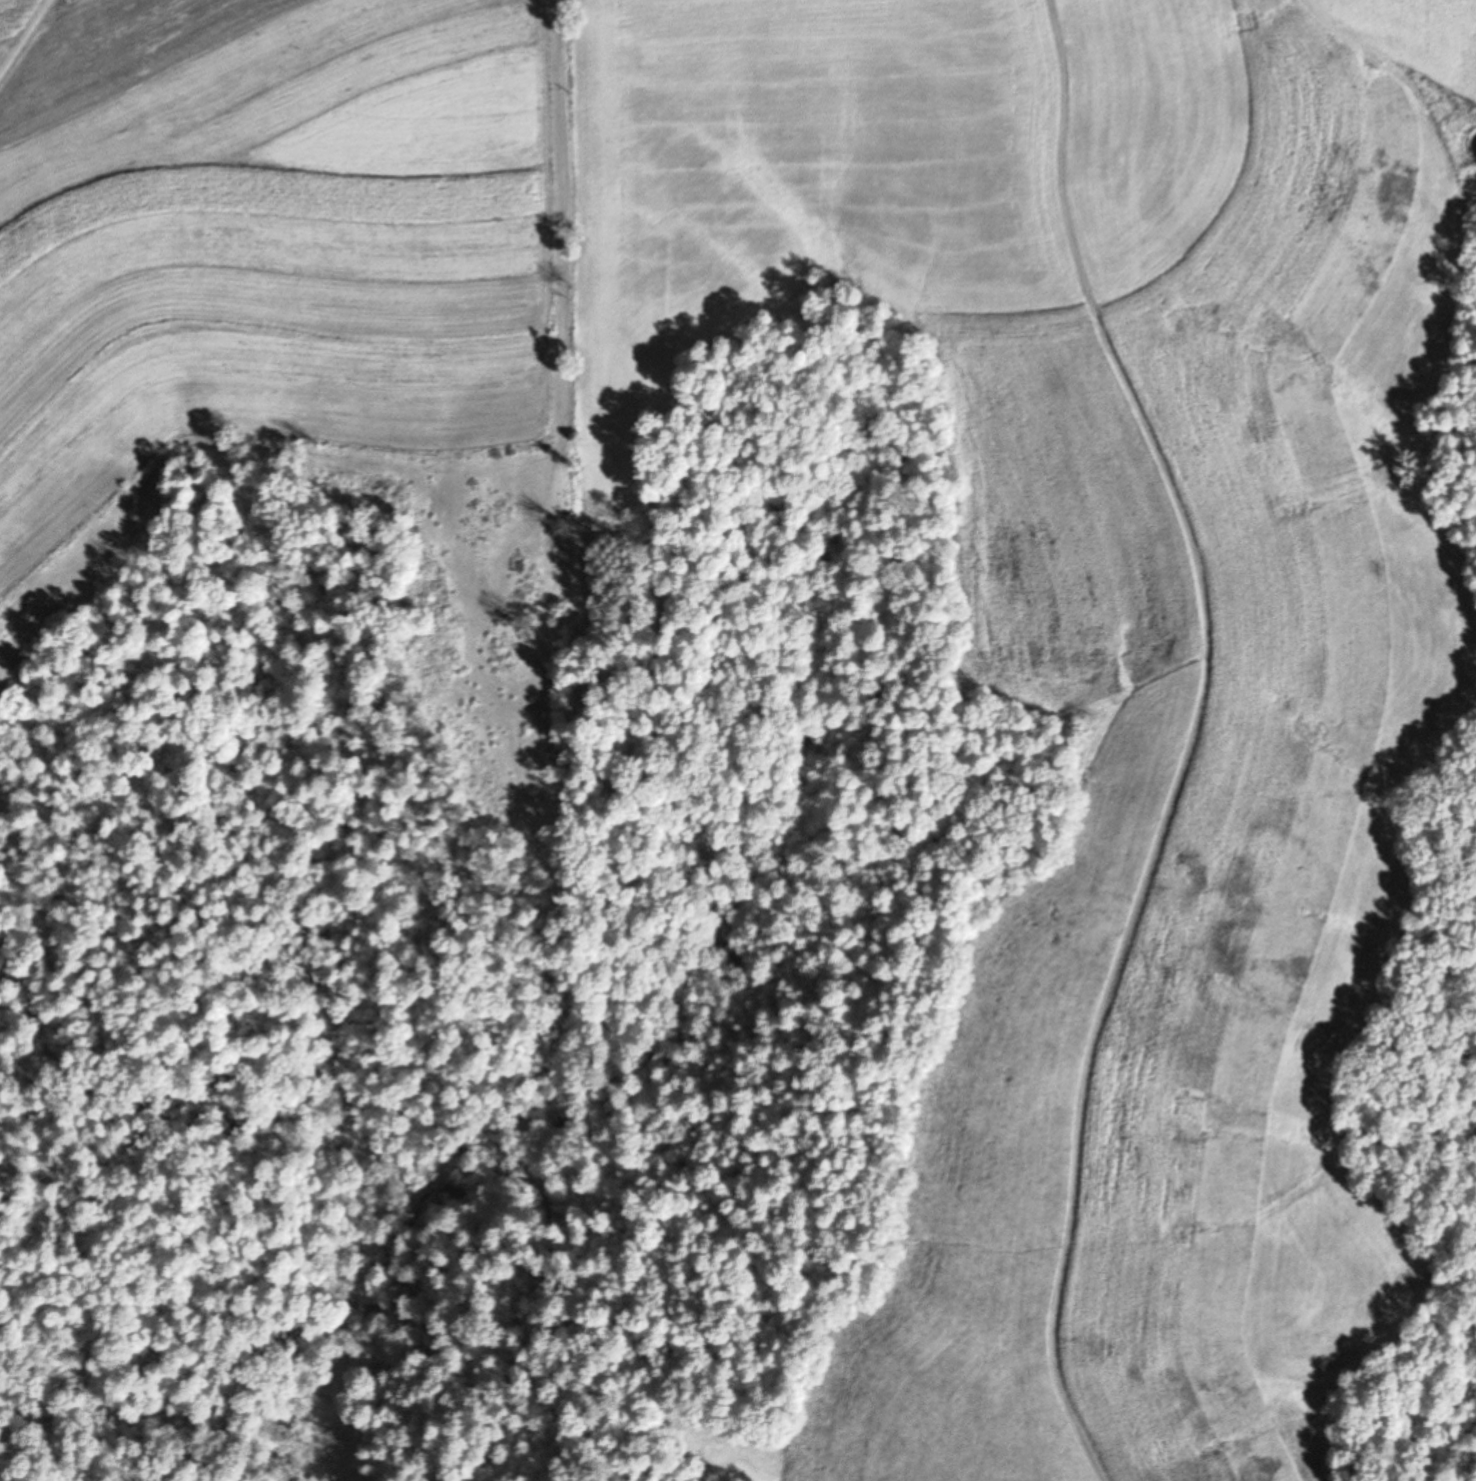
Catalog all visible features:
road: (23, 39)

